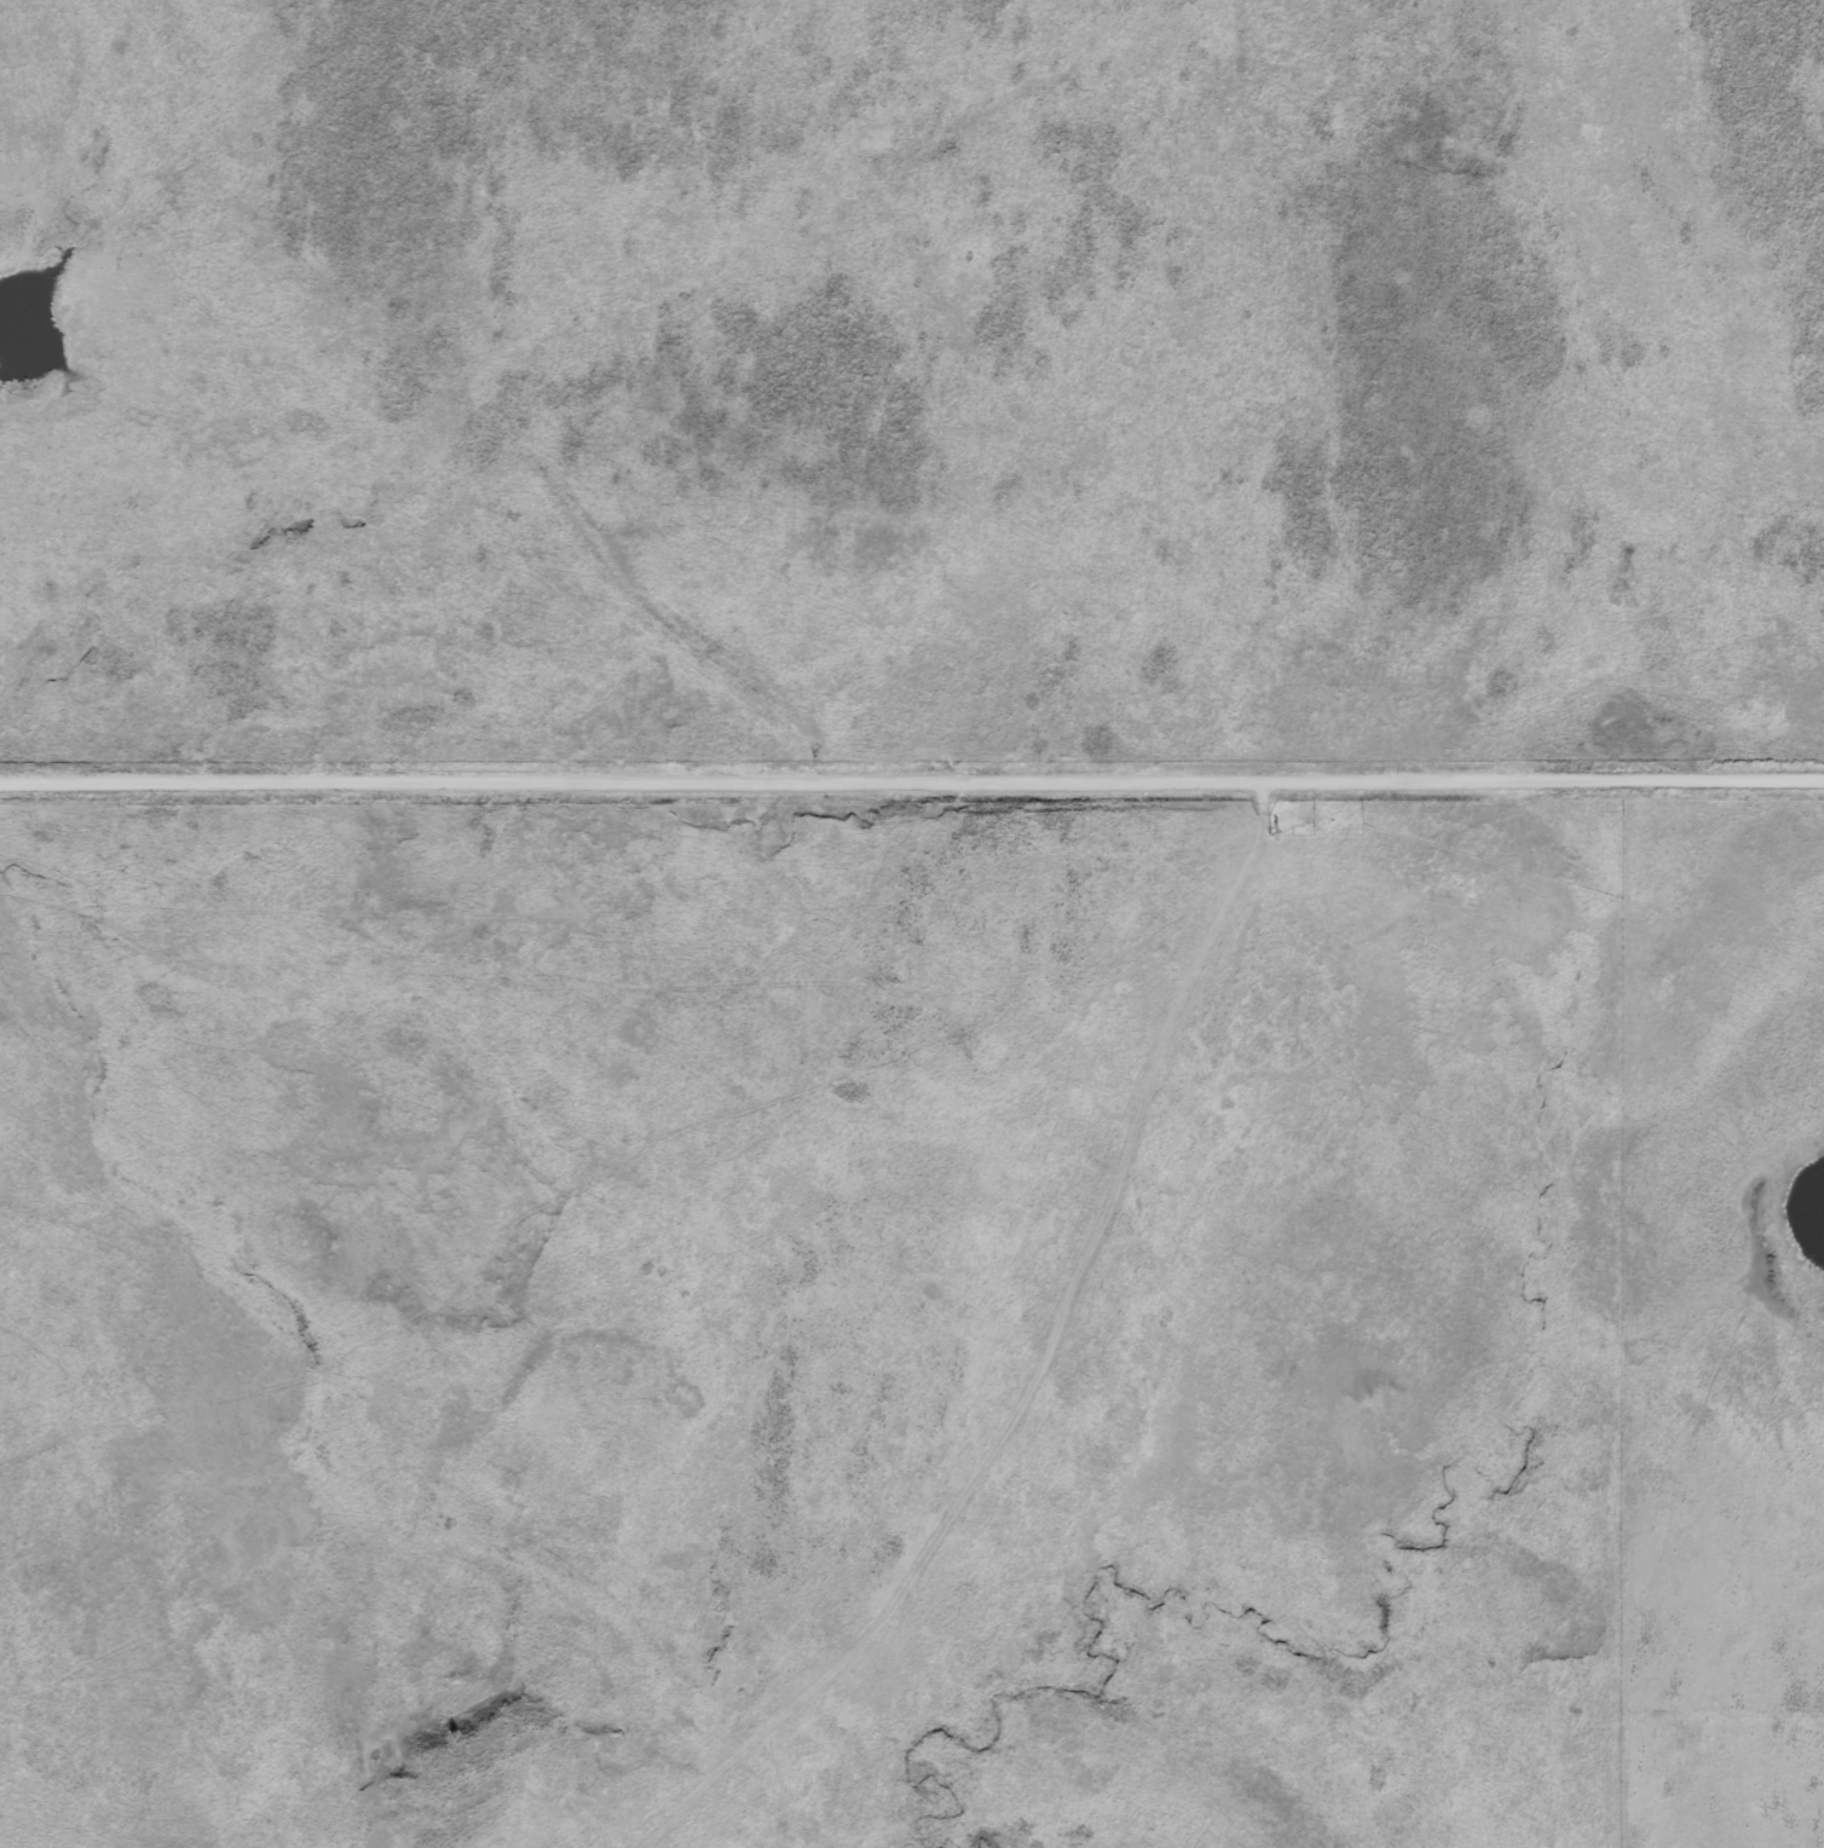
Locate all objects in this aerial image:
road: (912, 780)
road: (1049, 1358)

